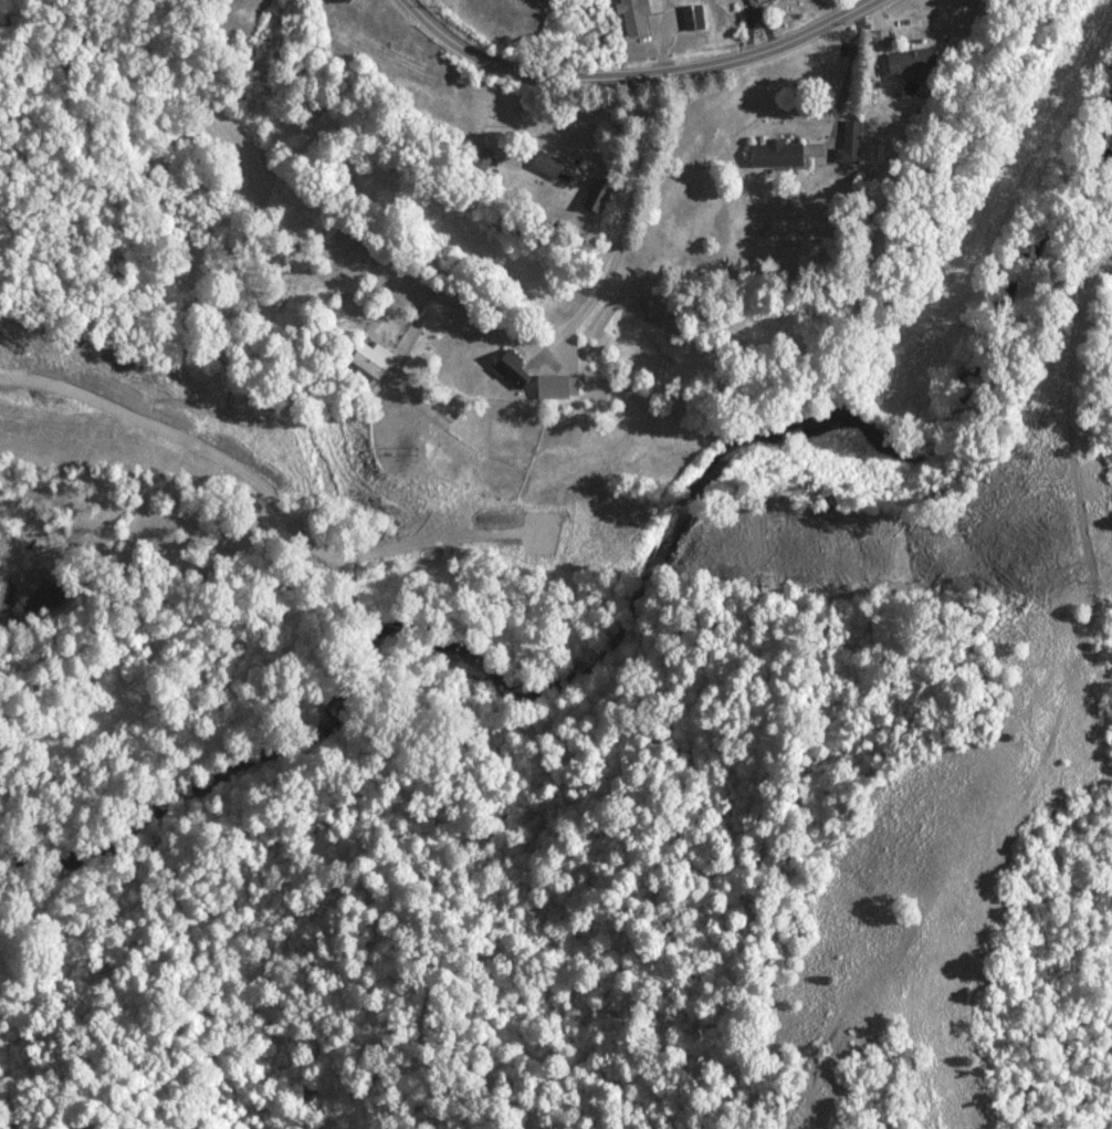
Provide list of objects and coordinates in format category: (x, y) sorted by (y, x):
building: (755, 1)
building: (694, 17)
building: (632, 18)
building: (910, 64)
road: (637, 77)
road: (845, 94)
building: (850, 144)
building: (776, 154)
building: (547, 164)
building: (598, 196)
road: (623, 233)
building: (370, 360)
building: (511, 373)
river: (631, 606)

